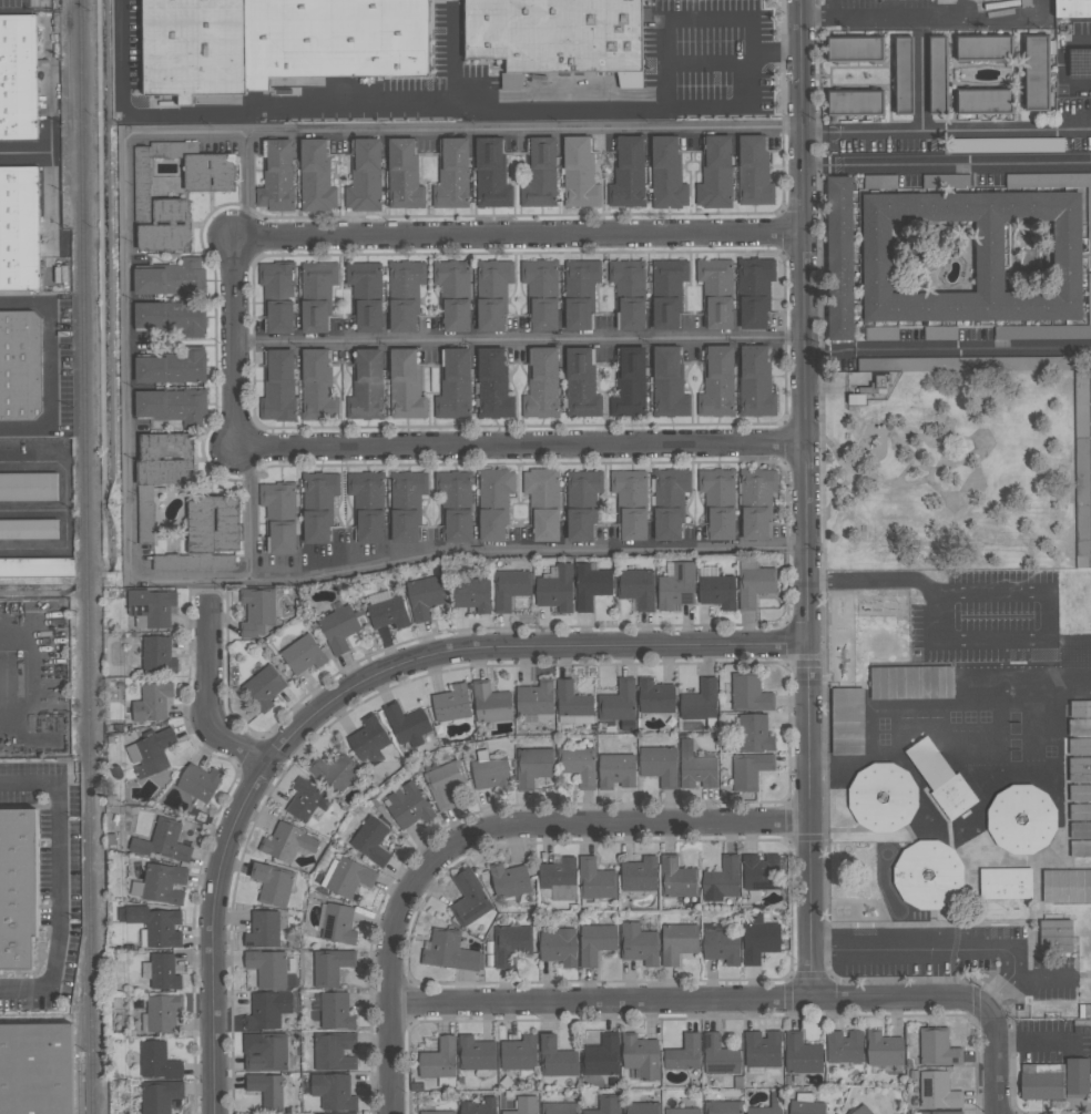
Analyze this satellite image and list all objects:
building: (404, 0)
building: (870, 0)
road: (832, 9)
building: (1074, 10)
road: (916, 19)
road: (664, 22)
building: (299, 40)
building: (572, 44)
building: (983, 47)
building: (192, 49)
building: (854, 49)
road: (774, 54)
railway: (71, 61)
road: (707, 61)
road: (452, 63)
building: (1037, 73)
building: (937, 74)
building: (903, 76)
building: (18, 78)
building: (983, 101)
building: (854, 102)
road: (425, 110)
road: (513, 129)
road: (945, 130)
building: (1005, 146)
road: (22, 155)
road: (959, 166)
road: (813, 168)
building: (753, 171)
building: (577, 173)
building: (626, 173)
building: (491, 174)
building: (538, 174)
building: (666, 174)
building: (715, 174)
building: (316, 175)
building: (401, 175)
building: (275, 176)
building: (364, 176)
building: (450, 176)
building: (878, 181)
building: (945, 181)
building: (1051, 183)
building: (144, 195)
building: (18, 229)
road: (516, 235)
building: (972, 257)
building: (839, 259)
building: (170, 278)
building: (753, 292)
building: (451, 293)
building: (667, 293)
building: (716, 293)
building: (540, 294)
building: (579, 294)
building: (628, 294)
building: (365, 295)
building: (404, 295)
building: (492, 295)
building: (316, 296)
building: (277, 297)
building: (1089, 299)
building: (172, 318)
building: (939, 334)
building: (879, 335)
road: (516, 338)
road: (234, 344)
road: (816, 352)
road: (962, 354)
road: (125, 364)
road: (49, 365)
building: (966, 365)
building: (21, 367)
building: (173, 368)
building: (884, 381)
building: (580, 382)
building: (492, 384)
building: (630, 384)
building: (666, 384)
building: (715, 384)
building: (755, 384)
building: (277, 386)
building: (402, 386)
building: (540, 386)
building: (315, 387)
building: (365, 387)
building: (451, 387)
building: (170, 406)
road: (822, 420)
road: (517, 447)
road: (938, 447)
road: (975, 451)
road: (958, 462)
road: (941, 464)
road: (924, 467)
building: (1081, 472)
building: (159, 474)
park: (948, 479)
building: (27, 489)
road: (802, 499)
road: (68, 503)
building: (542, 503)
building: (580, 503)
building: (756, 503)
building: (452, 504)
building: (492, 504)
building: (669, 504)
building: (716, 504)
building: (318, 505)
building: (630, 505)
building: (366, 507)
building: (406, 507)
road: (828, 510)
building: (278, 517)
building: (28, 532)
building: (206, 538)
road: (823, 544)
road: (523, 545)
railway: (88, 556)
building: (37, 570)
building: (754, 583)
building: (675, 585)
building: (590, 586)
building: (508, 589)
building: (636, 589)
building: (715, 589)
building: (555, 591)
building: (470, 595)
building: (425, 599)
building: (150, 606)
building: (257, 612)
building: (387, 614)
building: (338, 632)
road: (981, 641)
road: (516, 650)
building: (156, 656)
building: (302, 656)
building: (911, 683)
building: (263, 687)
building: (747, 695)
road: (206, 696)
building: (654, 697)
building: (536, 698)
building: (571, 701)
building: (150, 703)
building: (616, 703)
building: (697, 703)
building: (450, 705)
building: (489, 705)
building: (1080, 709)
building: (847, 720)
building: (406, 726)
building: (1079, 727)
building: (754, 733)
building: (368, 742)
building: (1079, 746)
building: (151, 753)
building: (532, 765)
building: (578, 765)
building: (659, 765)
building: (694, 768)
building: (1079, 769)
building: (616, 770)
building: (747, 771)
building: (332, 775)
building: (491, 776)
building: (939, 777)
building: (198, 781)
building: (443, 785)
building: (1079, 793)
building: (883, 798)
building: (305, 801)
building: (407, 807)
building: (1080, 812)
building: (1021, 819)
road: (485, 834)
building: (161, 842)
building: (286, 842)
building: (369, 842)
building: (759, 872)
building: (636, 876)
building: (929, 876)
building: (348, 878)
building: (558, 879)
building: (676, 879)
building: (593, 880)
building: (721, 880)
road: (55, 881)
building: (508, 881)
building: (271, 883)
building: (1006, 883)
building: (162, 885)
building: (1067, 886)
building: (19, 891)
building: (469, 898)
building: (152, 926)
building: (338, 926)
building: (262, 930)
road: (212, 933)
building: (1056, 936)
building: (594, 942)
building: (757, 942)
building: (677, 943)
building: (511, 944)
building: (638, 946)
building: (559, 948)
building: (721, 948)
road: (928, 950)
building: (449, 952)
building: (329, 967)
building: (266, 969)
building: (162, 973)
road: (1042, 984)
road: (999, 995)
road: (689, 1001)
building: (266, 1011)
building: (334, 1012)
building: (162, 1013)
road: (1032, 1040)
building: (843, 1047)
building: (937, 1047)
railway: (81, 1050)
building: (762, 1050)
building: (883, 1050)
building: (334, 1051)
building: (265, 1053)
building: (476, 1054)
building: (519, 1054)
building: (682, 1054)
building: (801, 1055)
building: (600, 1056)
building: (640, 1057)
building: (555, 1059)
building: (438, 1060)
building: (717, 1060)
road: (991, 1060)
building: (157, 1062)
building: (35, 1070)
building: (1054, 1081)
building: (332, 1091)
building: (267, 1092)
building: (937, 1092)
building: (159, 1096)
building: (774, 1101)
building: (479, 1106)
building: (523, 1106)
building: (605, 1106)
building: (722, 1107)
building: (805, 1107)
building: (560, 1108)
building: (641, 1108)
building: (682, 1111)
building: (861, 1111)
building: (436, 1113)
building: (948, 1113)

